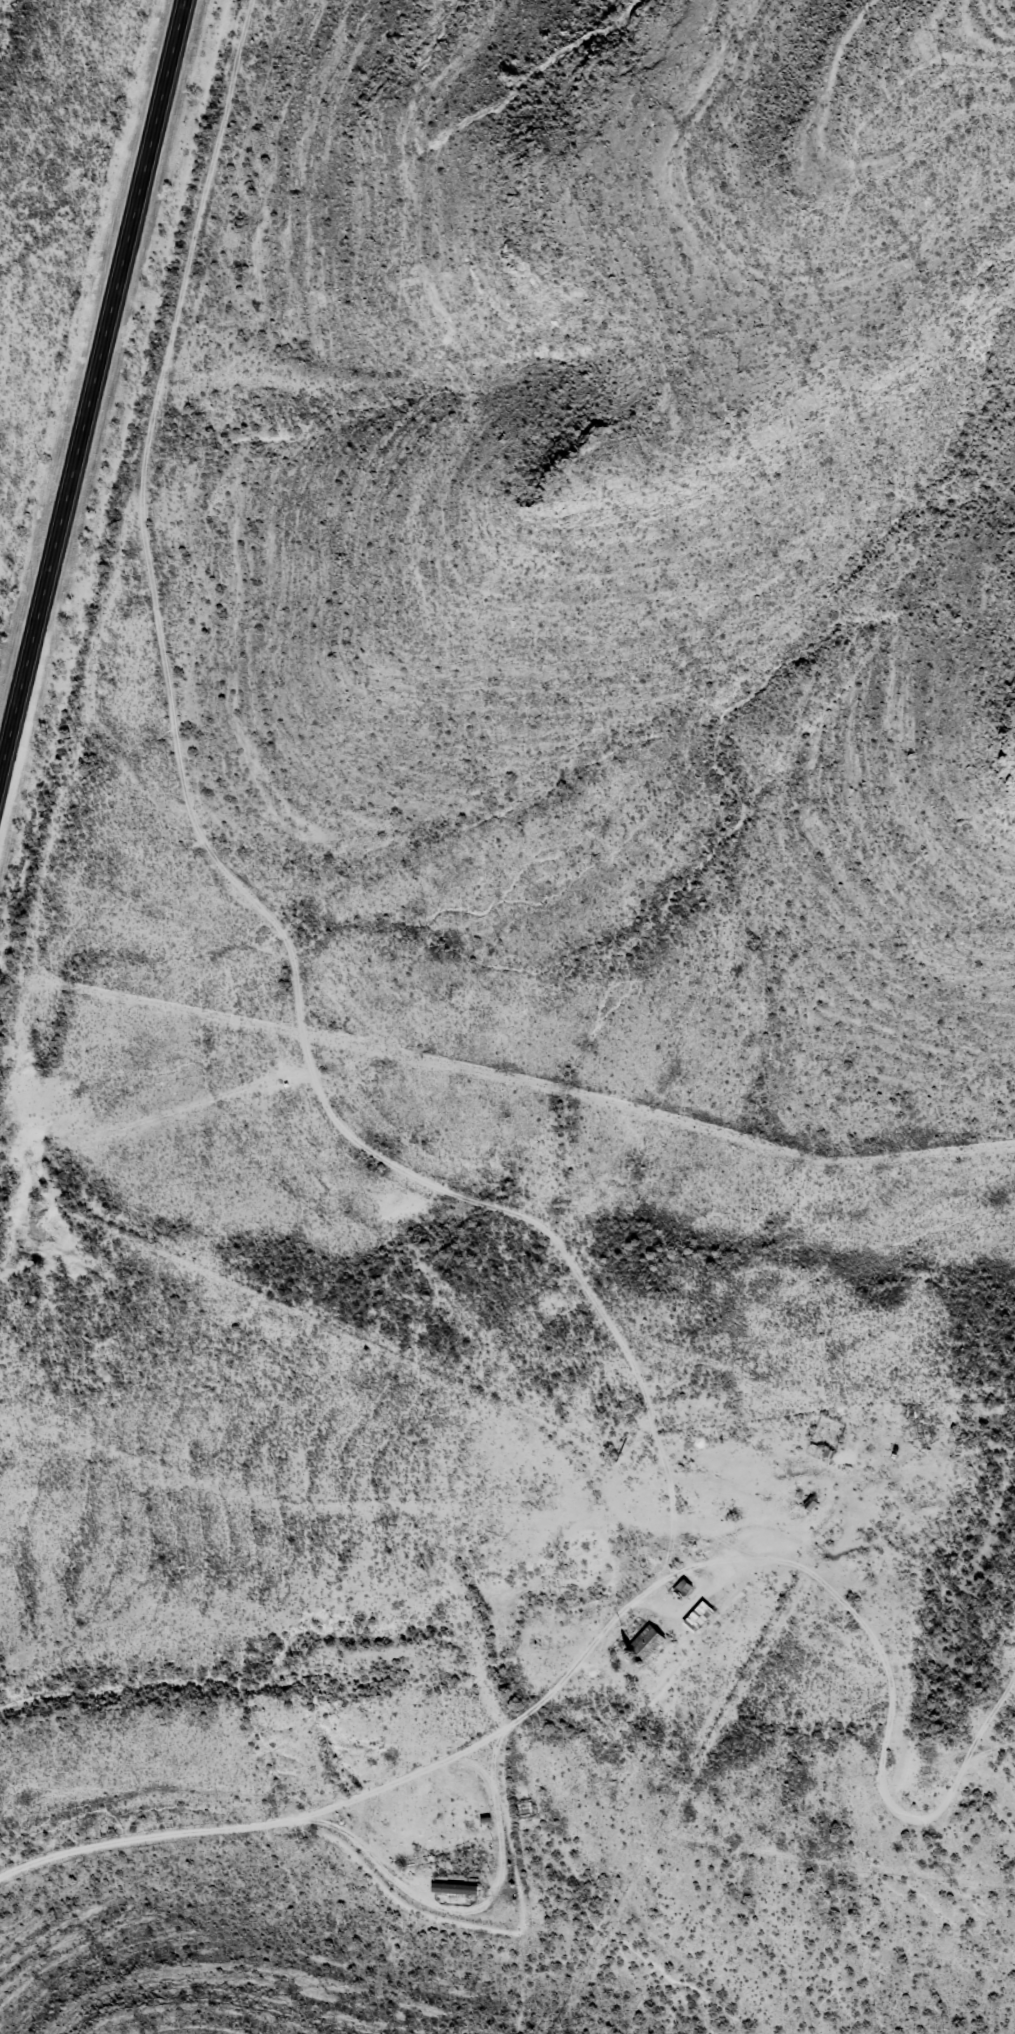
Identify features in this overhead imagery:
road: (91, 383)
building: (810, 1505)
building: (682, 1588)
road: (615, 1613)
building: (697, 1616)
building: (645, 1643)
building: (454, 1883)

